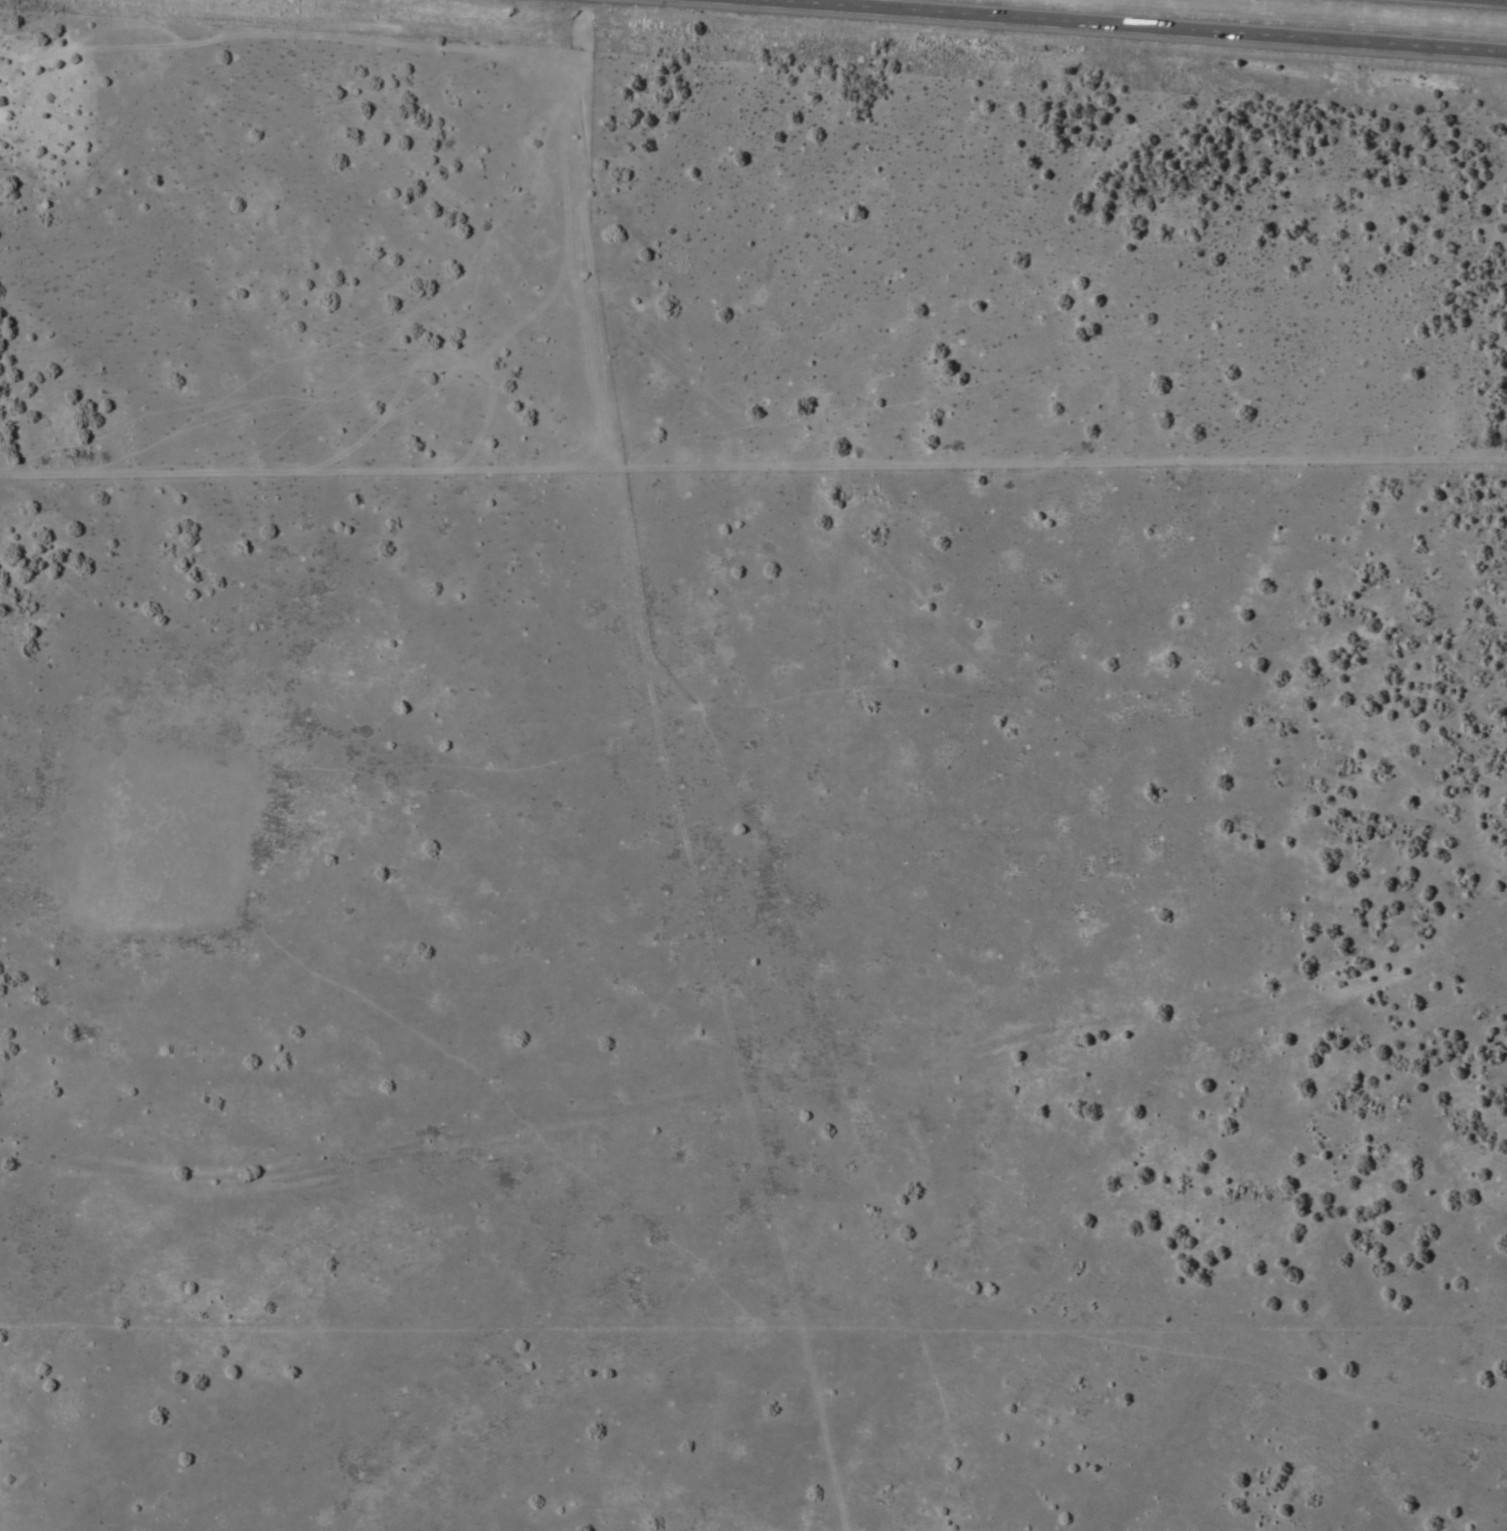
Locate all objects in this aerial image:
road: (1474, 2)
road: (1146, 26)
building: (1454, 54)

